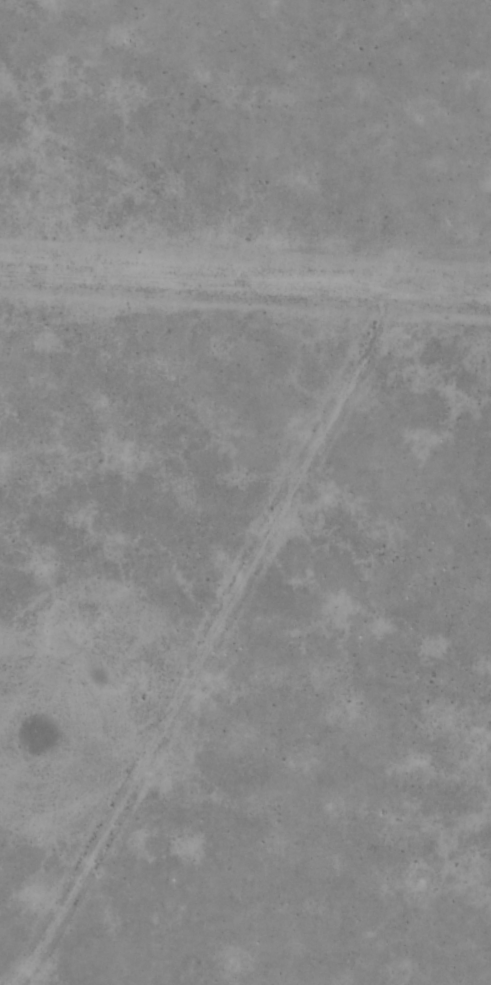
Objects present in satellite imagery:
airport runway: (245, 287)
road: (214, 641)

